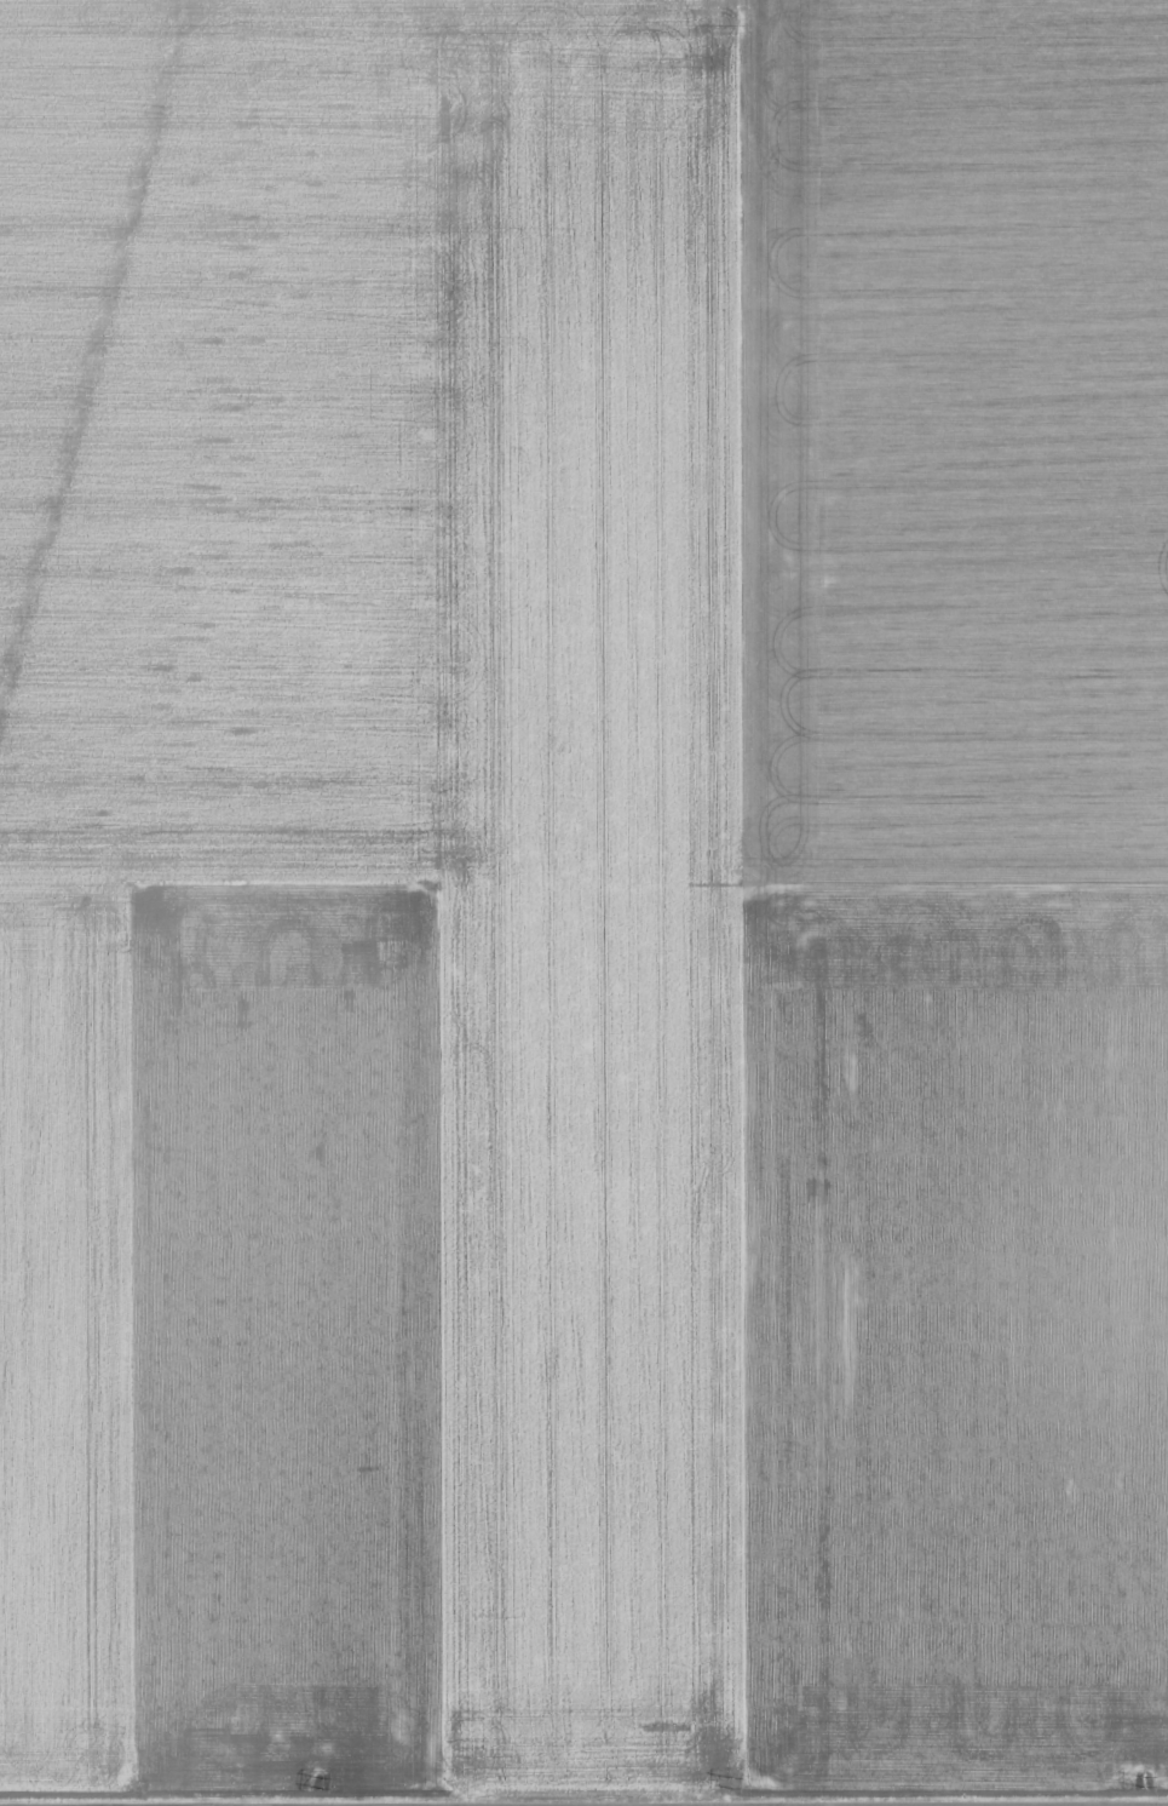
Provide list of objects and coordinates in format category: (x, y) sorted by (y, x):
power tower: (323, 1782)
power tower: (1145, 1782)
power tower: (732, 1783)

